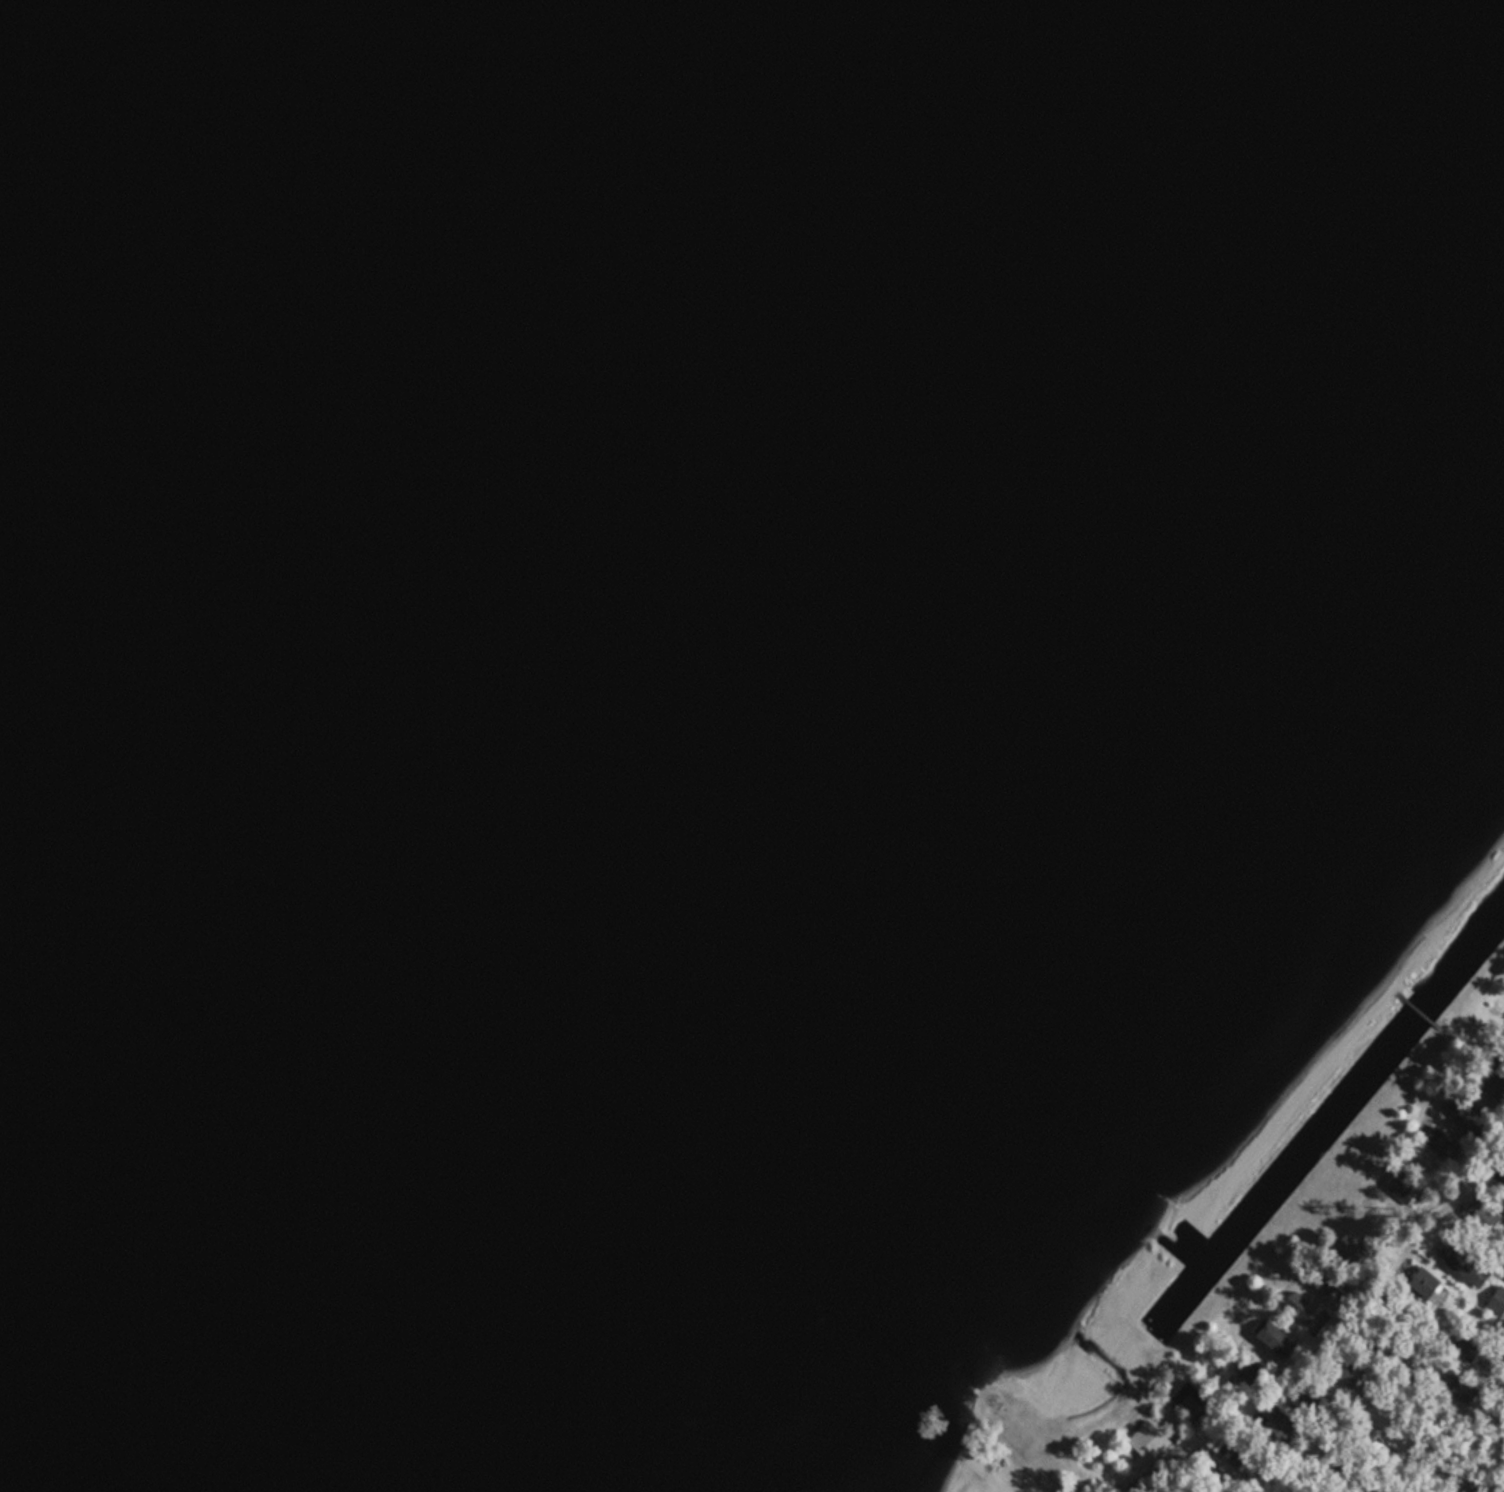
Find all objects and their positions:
building: (1489, 1086)
building: (1439, 1139)
building: (1484, 1214)
building: (1462, 1263)
building: (1419, 1282)
building: (1497, 1298)
building: (1302, 1305)
building: (1343, 1368)
building: (1466, 1391)
building: (1275, 1419)
building: (1150, 1441)
park: (1216, 1489)

